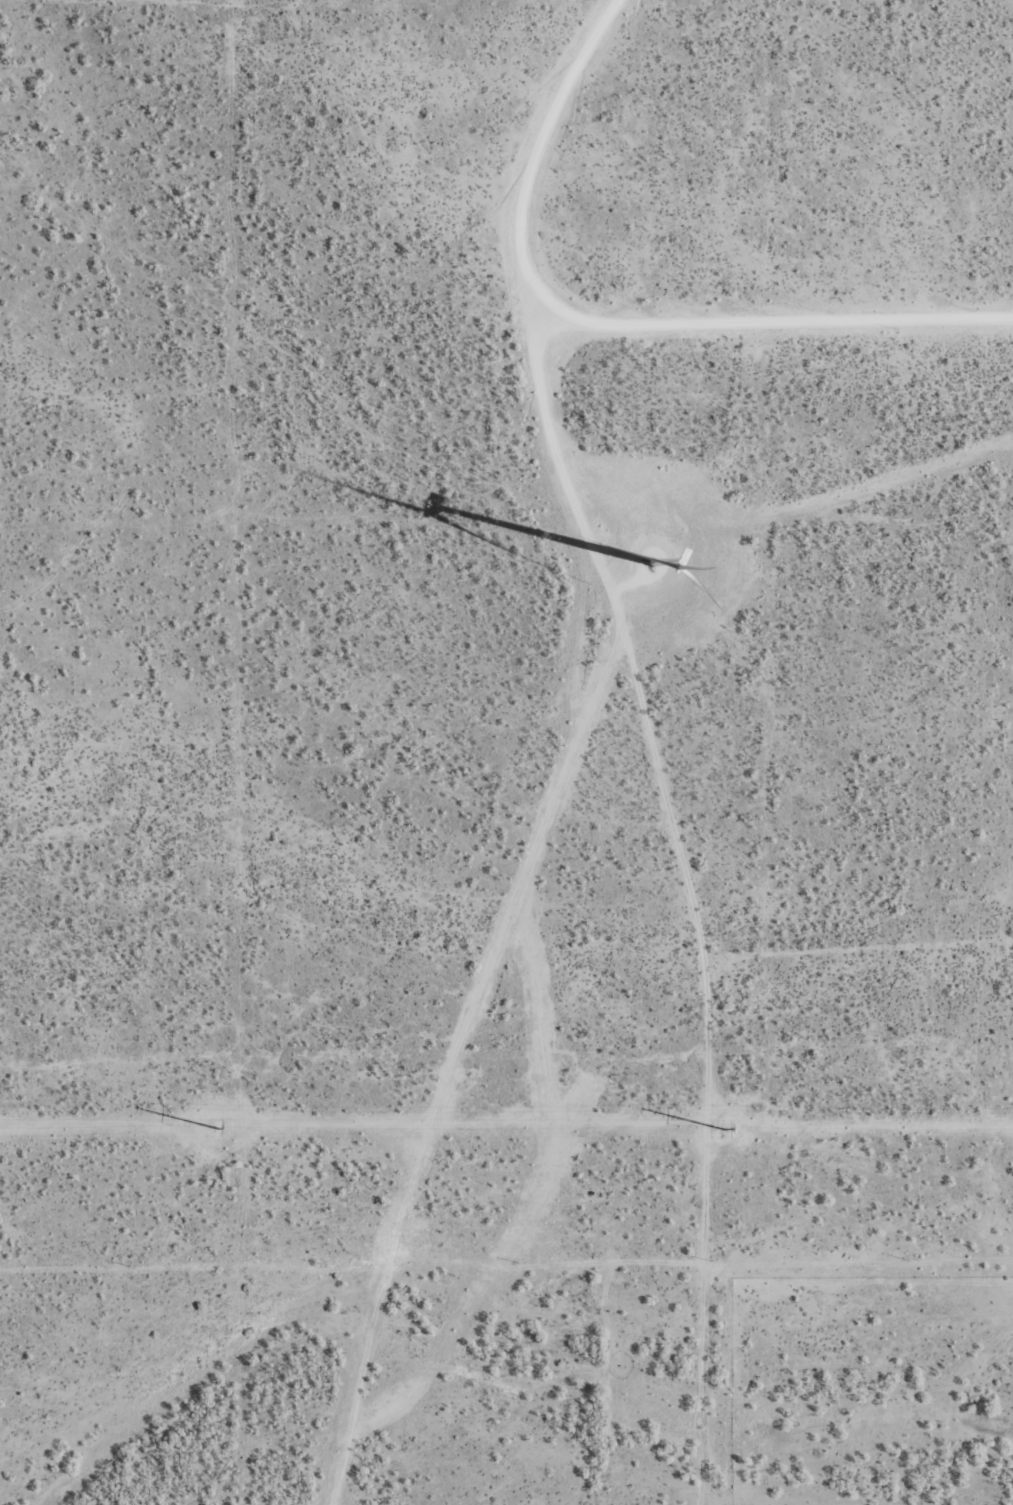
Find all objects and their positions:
wind turbine: (643, 559)
road: (668, 722)

